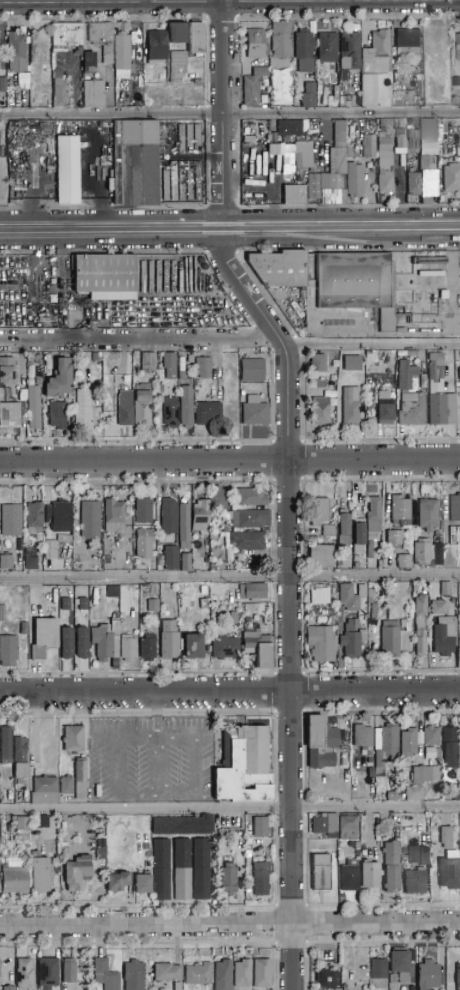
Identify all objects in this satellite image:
road: (186, 0)
road: (257, 0)
road: (18, 1)
road: (75, 1)
building: (177, 33)
building: (66, 34)
building: (102, 39)
building: (196, 39)
building: (280, 40)
building: (408, 42)
building: (256, 43)
building: (157, 45)
building: (328, 48)
building: (458, 48)
building: (304, 51)
building: (350, 51)
building: (17, 52)
building: (121, 52)
road: (223, 57)
building: (88, 64)
building: (177, 66)
building: (285, 69)
building: (260, 72)
building: (376, 72)
building: (3, 85)
building: (59, 91)
building: (251, 91)
building: (333, 91)
building: (280, 92)
building: (456, 93)
building: (93, 94)
building: (308, 97)
building: (352, 101)
road: (230, 113)
building: (386, 124)
building: (289, 128)
building: (431, 135)
building: (457, 137)
building: (400, 139)
building: (414, 141)
building: (248, 146)
building: (369, 147)
building: (273, 150)
building: (384, 152)
building: (351, 153)
building: (304, 155)
building: (136, 163)
building: (335, 170)
building: (68, 171)
road: (223, 172)
building: (428, 176)
building: (451, 178)
building: (355, 180)
building: (413, 181)
building: (386, 184)
building: (314, 188)
building: (295, 195)
railway: (229, 225)
road: (340, 228)
road: (111, 230)
railway: (230, 233)
railway: (360, 243)
building: (20, 260)
building: (429, 261)
building: (279, 268)
building: (428, 271)
road: (454, 274)
building: (106, 277)
building: (358, 285)
building: (444, 295)
road: (139, 343)
road: (369, 344)
building: (95, 357)
building: (190, 359)
building: (148, 362)
building: (317, 362)
building: (36, 367)
building: (203, 367)
building: (252, 370)
building: (6, 371)
building: (459, 373)
building: (406, 375)
building: (182, 376)
building: (59, 380)
building: (198, 383)
building: (331, 391)
building: (437, 391)
building: (5, 395)
building: (125, 398)
building: (351, 406)
building: (186, 407)
building: (34, 408)
building: (142, 408)
building: (412, 409)
building: (83, 410)
building: (385, 410)
building: (108, 411)
building: (14, 412)
building: (171, 412)
building: (207, 412)
building: (255, 412)
building: (321, 412)
building: (458, 414)
building: (58, 416)
building: (125, 416)
road: (229, 461)
building: (408, 495)
building: (217, 496)
building: (249, 497)
building: (455, 509)
building: (401, 510)
building: (144, 511)
building: (320, 512)
building: (57, 515)
building: (429, 515)
building: (114, 516)
building: (169, 516)
building: (200, 516)
building: (374, 517)
building: (91, 518)
building: (34, 519)
building: (248, 519)
building: (11, 520)
building: (184, 527)
building: (344, 530)
building: (329, 531)
building: (359, 537)
building: (394, 539)
building: (447, 540)
building: (247, 541)
building: (145, 543)
building: (406, 544)
building: (421, 552)
building: (438, 554)
building: (321, 556)
building: (170, 557)
building: (404, 561)
building: (6, 562)
building: (31, 563)
building: (185, 563)
road: (229, 577)
building: (445, 589)
building: (253, 592)
building: (320, 596)
building: (351, 597)
road: (289, 600)
building: (65, 604)
building: (83, 604)
building: (153, 606)
building: (205, 608)
building: (438, 608)
building: (420, 610)
building: (174, 611)
building: (2, 614)
building: (233, 617)
building: (365, 618)
building: (21, 628)
building: (44, 638)
building: (390, 640)
building: (459, 640)
building: (169, 641)
building: (353, 641)
building: (442, 641)
building: (66, 643)
building: (82, 643)
building: (102, 644)
building: (321, 644)
building: (421, 644)
building: (148, 647)
building: (193, 647)
building: (128, 648)
building: (225, 648)
building: (258, 648)
building: (9, 651)
road: (229, 692)
road: (156, 714)
building: (320, 733)
road: (181, 735)
building: (362, 737)
building: (431, 737)
building: (73, 739)
building: (408, 743)
building: (386, 748)
building: (6, 755)
building: (449, 755)
building: (20, 756)
building: (320, 759)
building: (344, 762)
building: (244, 767)
building: (80, 780)
building: (421, 781)
building: (66, 785)
building: (44, 790)
building: (393, 796)
building: (456, 797)
road: (229, 809)
building: (42, 822)
building: (325, 825)
building: (22, 826)
building: (182, 826)
building: (347, 827)
building: (260, 828)
building: (446, 837)
building: (182, 853)
building: (201, 853)
building: (100, 854)
building: (161, 854)
building: (414, 856)
building: (424, 856)
building: (404, 859)
building: (391, 867)
building: (320, 871)
building: (449, 871)
building: (77, 873)
building: (40, 874)
building: (369, 876)
building: (261, 879)
building: (349, 879)
building: (14, 880)
building: (117, 880)
building: (229, 880)
building: (415, 881)
building: (201, 883)
building: (142, 884)
building: (182, 884)
building: (161, 885)
road: (230, 926)
building: (400, 965)
building: (69, 971)
building: (47, 973)
building: (261, 973)
building: (378, 973)
building: (24, 974)
building: (198, 974)
building: (242, 974)
building: (105, 975)
building: (223, 975)
building: (429, 975)
building: (134, 976)
building: (166, 976)
building: (458, 977)
building: (328, 979)
building: (9, 988)

